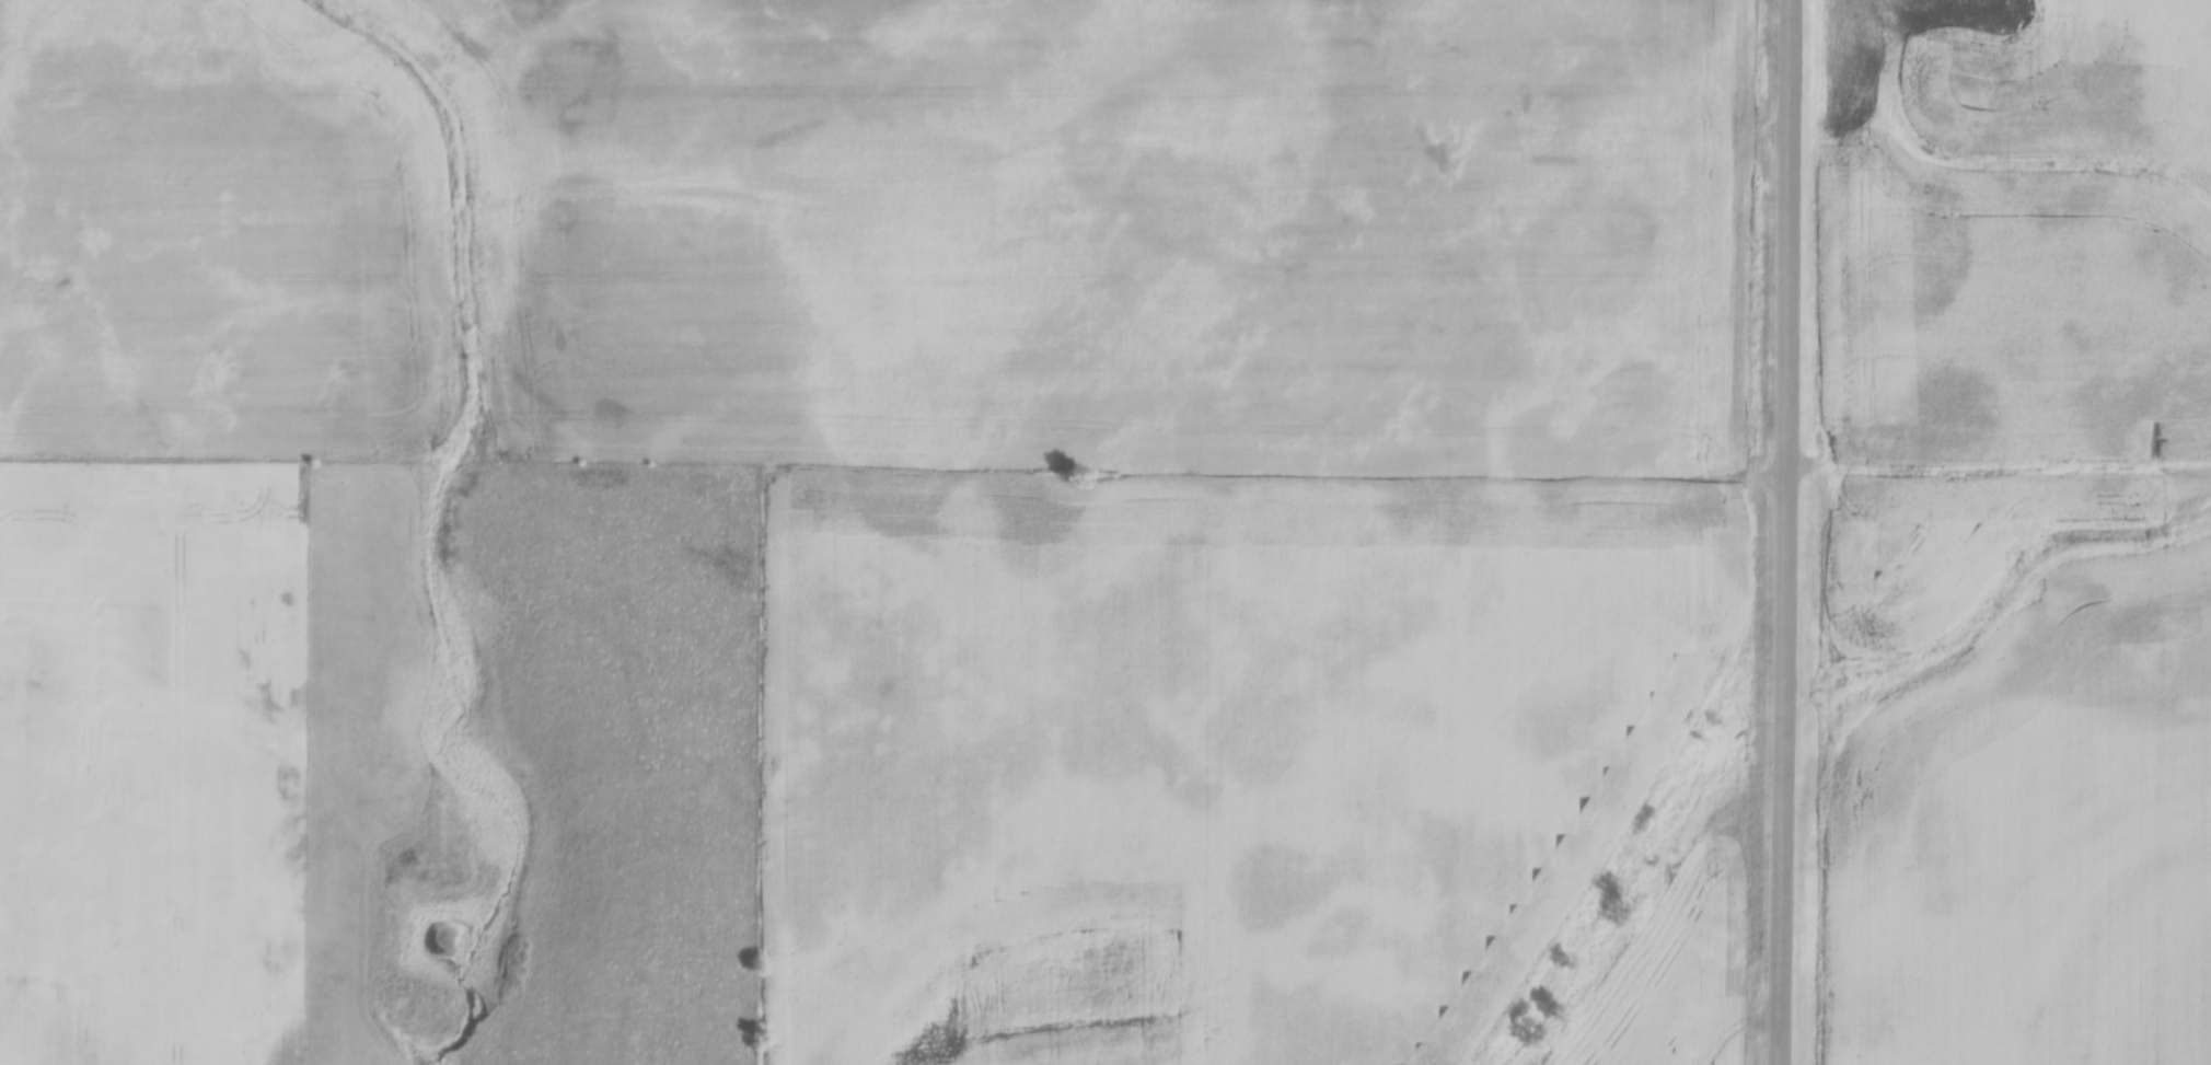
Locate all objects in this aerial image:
road: (1789, 532)

